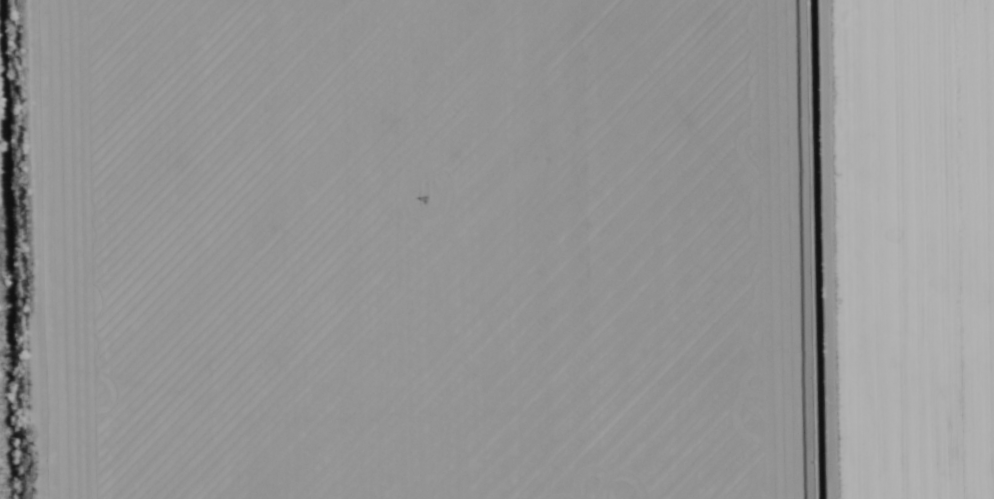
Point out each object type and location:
crop: (497, 249)
road: (864, 249)

